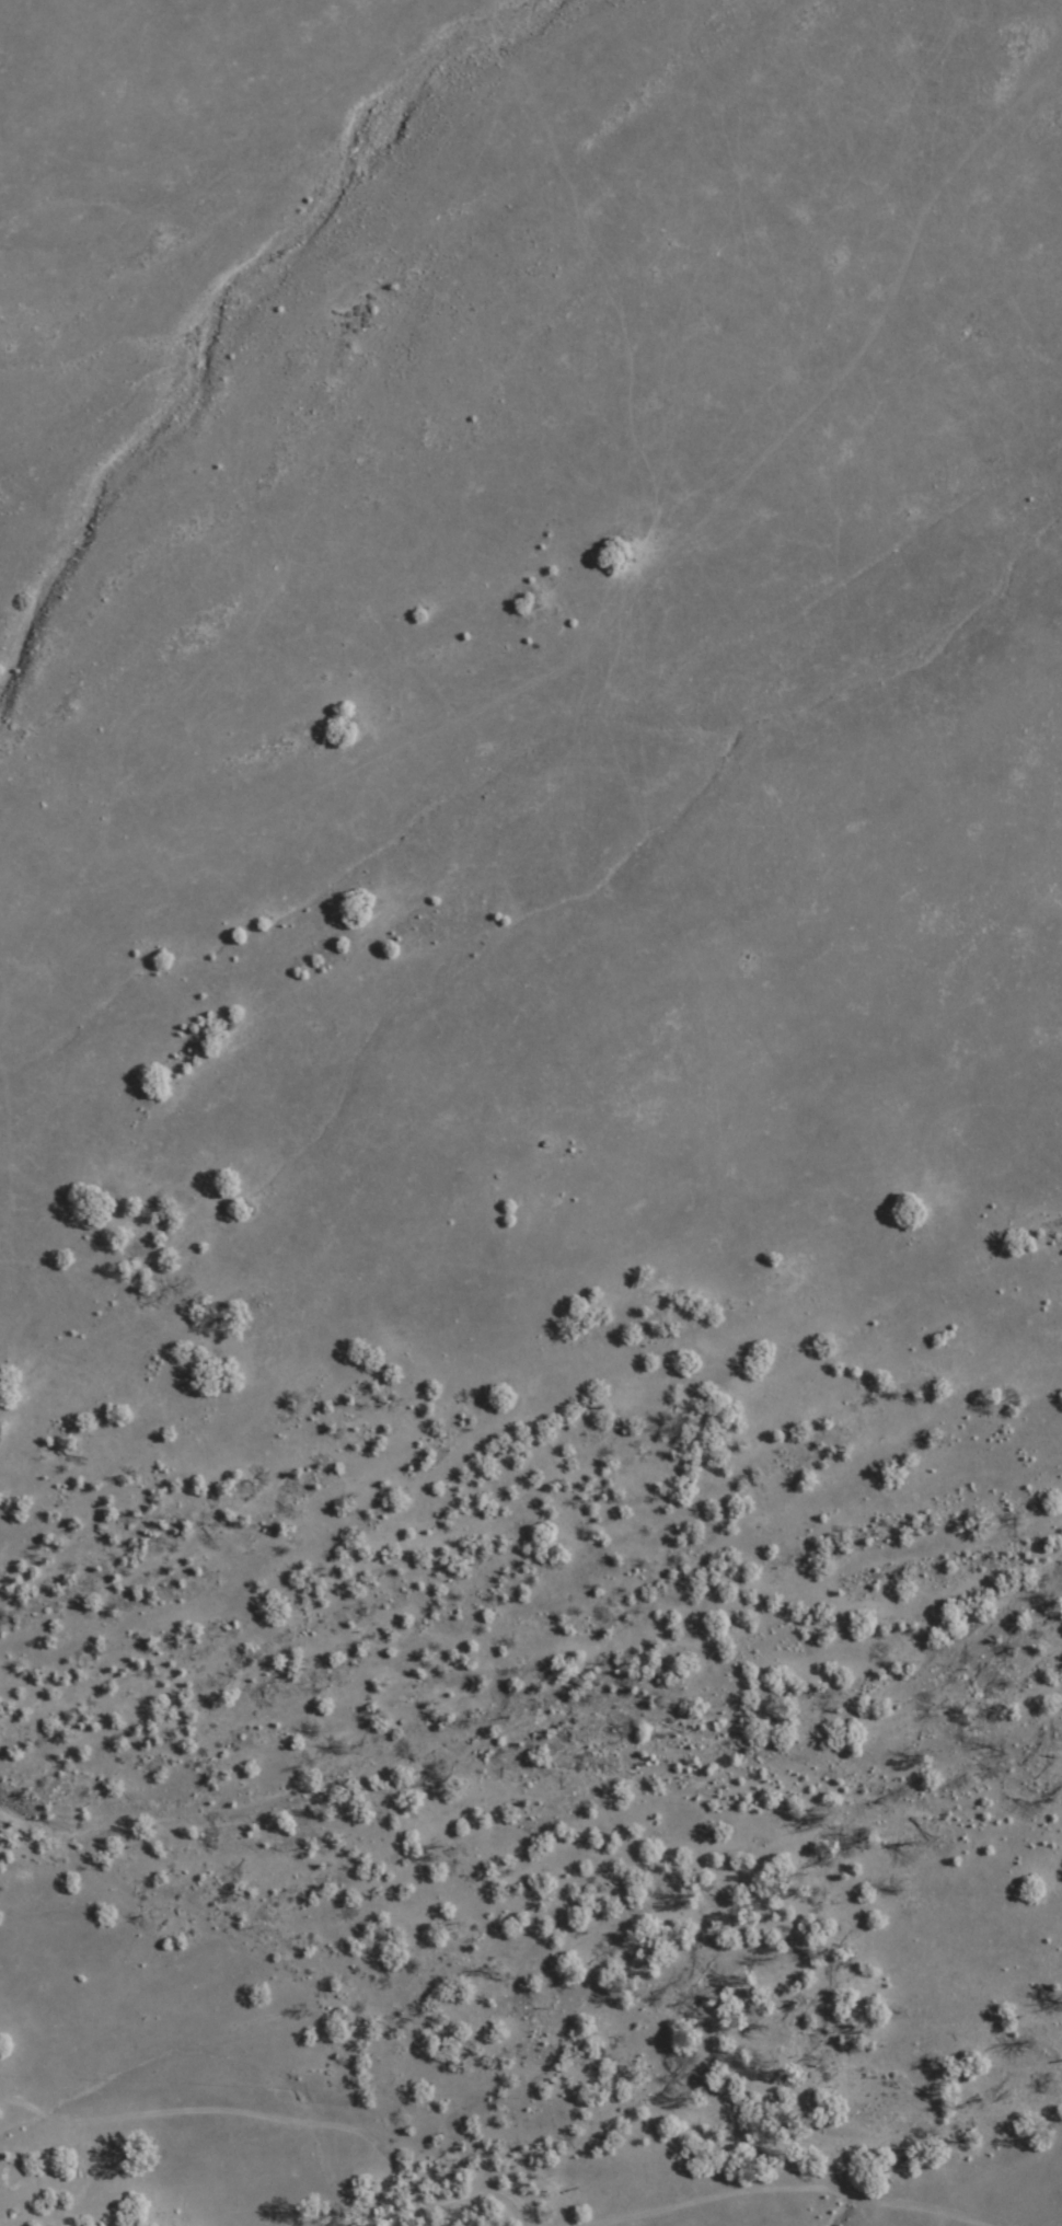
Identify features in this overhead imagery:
road: (628, 614)
road: (76, 948)
road: (561, 1195)
road: (1055, 1795)

